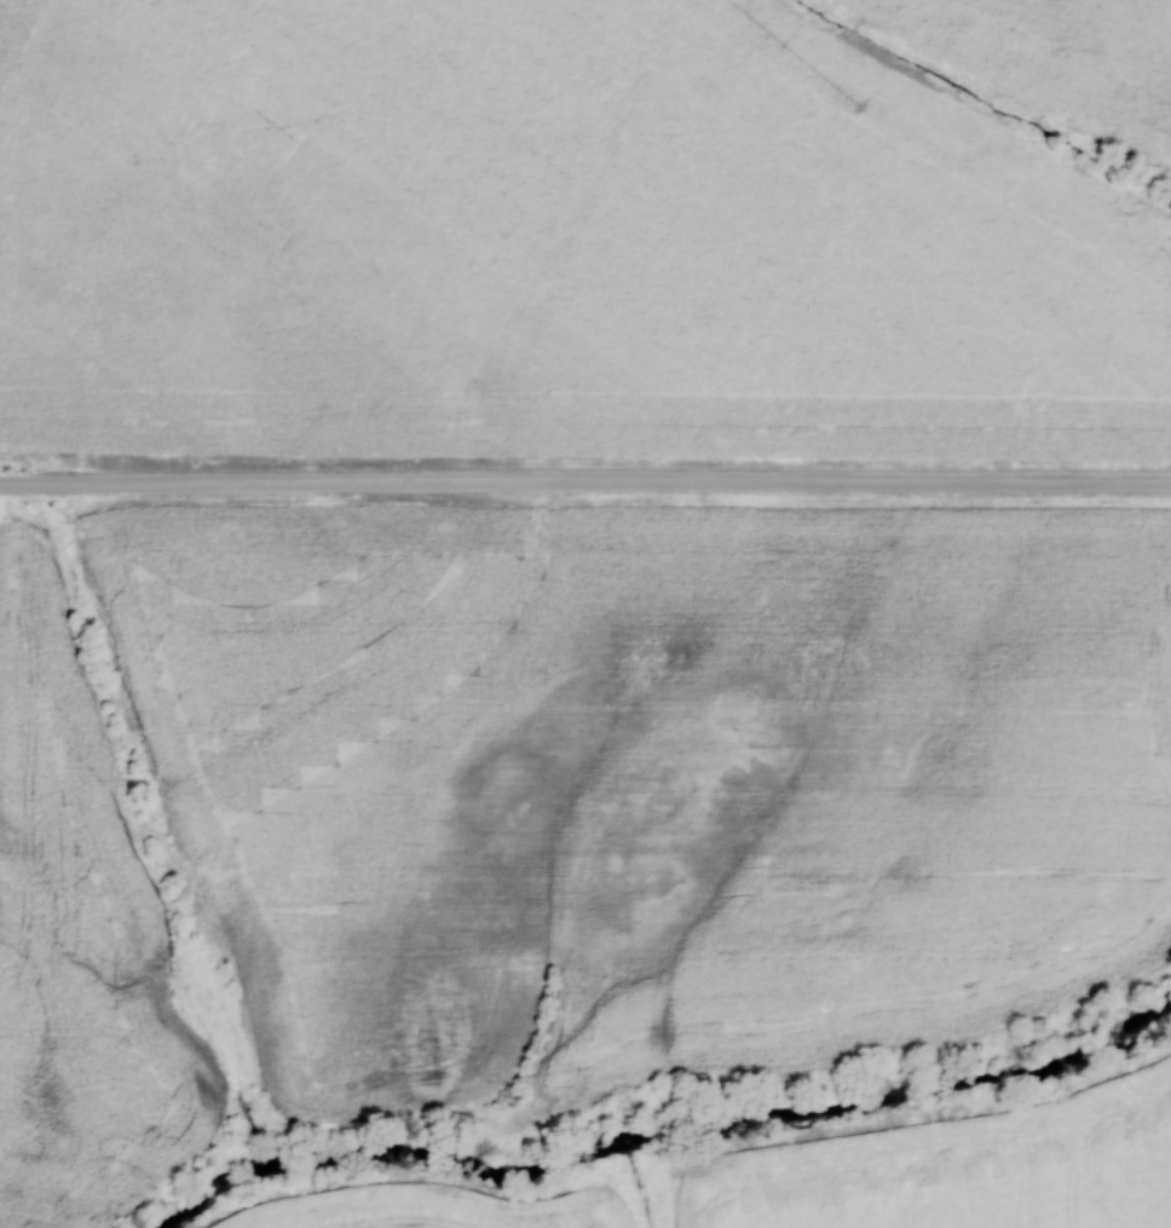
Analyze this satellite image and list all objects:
road: (585, 486)

